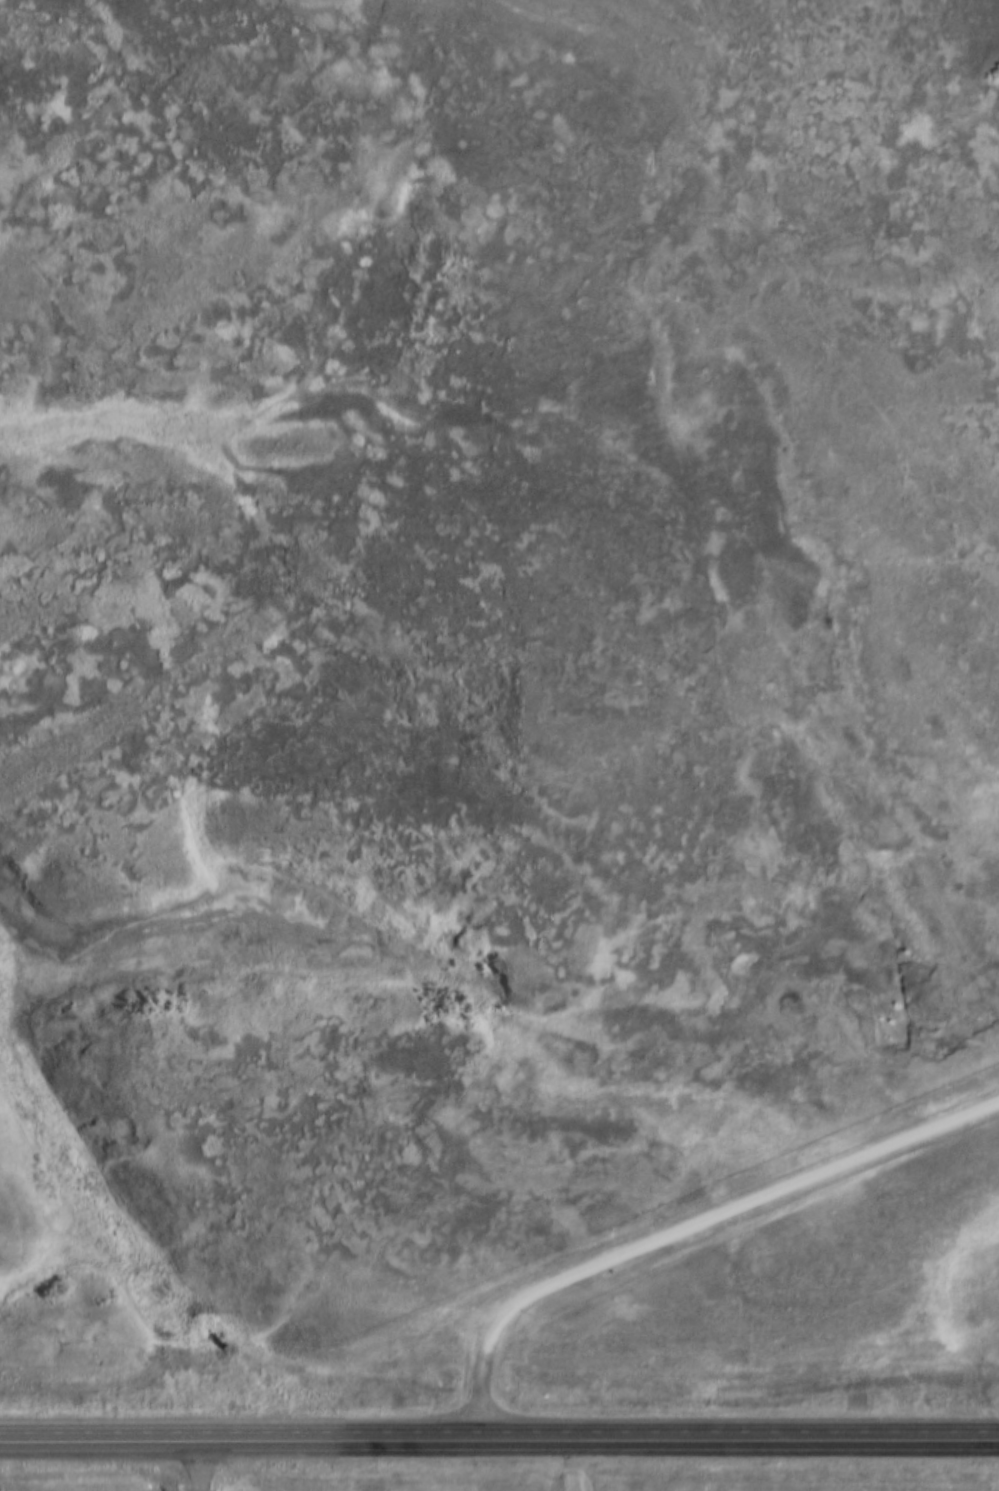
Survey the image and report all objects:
road: (682, 1228)
road: (499, 1443)
road: (202, 1465)

